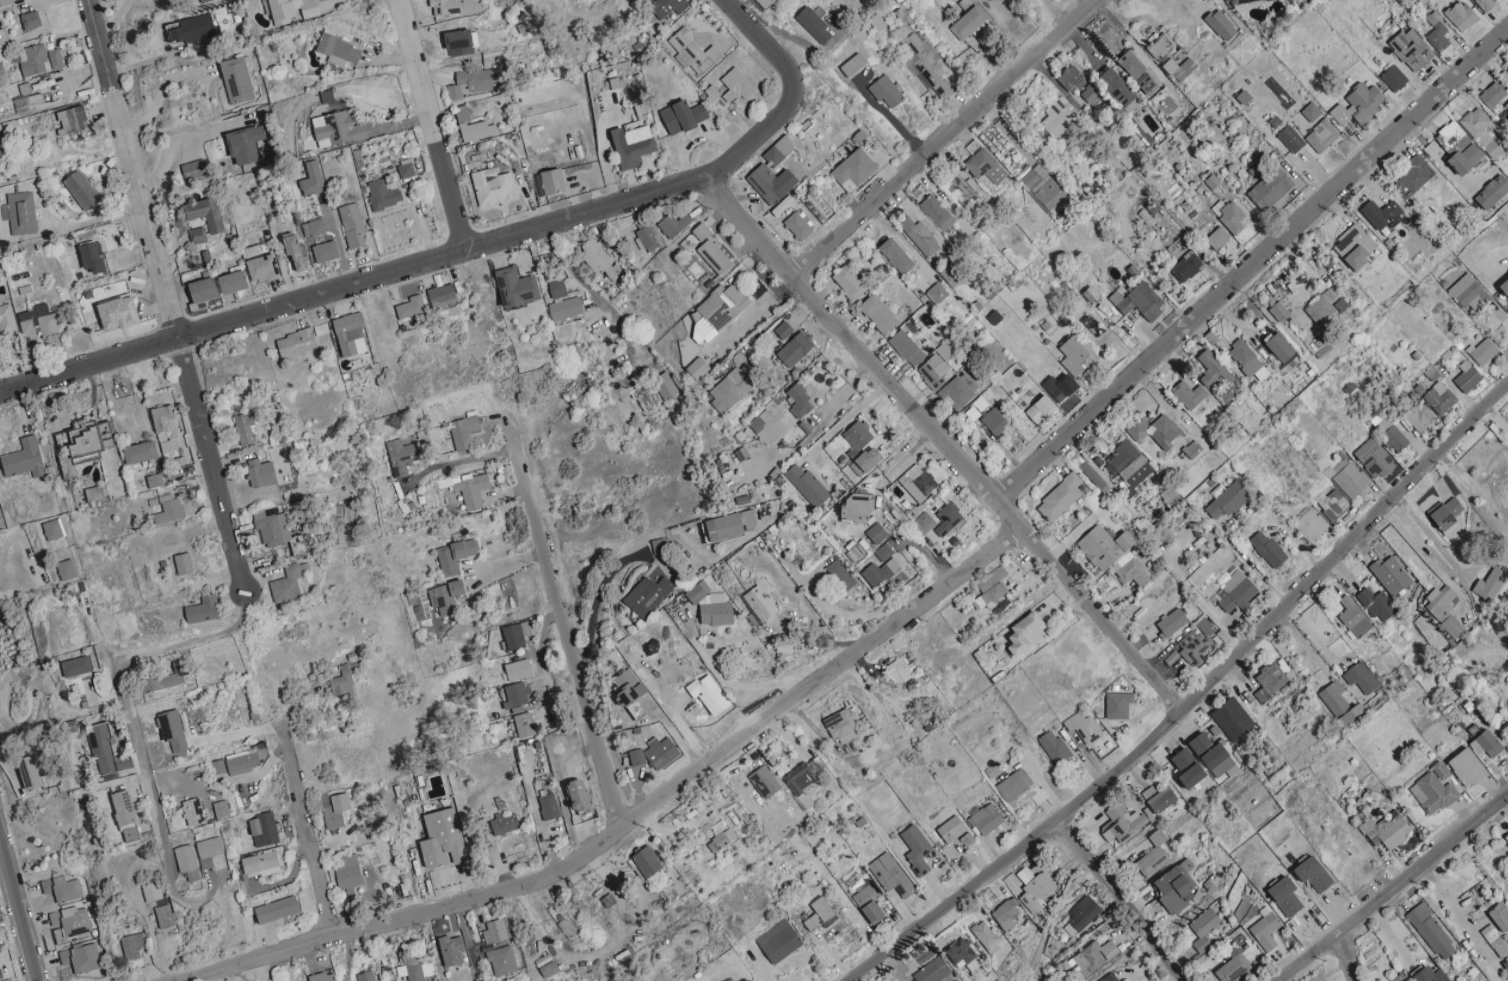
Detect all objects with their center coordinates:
building: (206, 1)
building: (1237, 1)
building: (5, 2)
road: (30, 3)
building: (766, 3)
building: (1485, 3)
building: (668, 6)
building: (454, 7)
building: (290, 9)
building: (1462, 15)
road: (114, 19)
building: (30, 20)
building: (968, 23)
building: (813, 24)
building: (1221, 25)
building: (193, 29)
building: (1438, 32)
building: (461, 42)
building: (1161, 46)
building: (1412, 49)
building: (339, 50)
building: (693, 51)
building: (55, 58)
building: (33, 60)
building: (854, 64)
building: (929, 64)
building: (1132, 64)
building: (1179, 68)
building: (1505, 75)
building: (1071, 77)
building: (1394, 78)
building: (236, 80)
building: (474, 81)
building: (1149, 83)
building: (736, 85)
building: (1118, 89)
building: (886, 91)
road: (159, 93)
road: (793, 95)
building: (1493, 95)
building: (1359, 104)
building: (1506, 105)
building: (1311, 111)
building: (683, 116)
building: (1056, 116)
building: (73, 119)
road: (432, 124)
building: (470, 125)
building: (337, 128)
building: (1481, 131)
building: (1322, 136)
road: (942, 137)
building: (1291, 139)
building: (245, 144)
building: (633, 145)
building: (1459, 147)
building: (778, 151)
road: (167, 155)
building: (986, 166)
building: (406, 168)
building: (192, 169)
building: (854, 169)
building: (1416, 174)
building: (1029, 178)
building: (313, 179)
building: (552, 181)
building: (771, 183)
building: (494, 187)
building: (1272, 188)
building: (82, 190)
building: (1493, 192)
building: (383, 194)
building: (1051, 196)
building: (783, 205)
building: (20, 212)
building: (937, 212)
building: (205, 213)
building: (1381, 213)
building: (1231, 216)
road: (93, 222)
building: (352, 225)
building: (674, 225)
building: (798, 225)
building: (313, 227)
building: (701, 231)
building: (923, 234)
building: (198, 235)
building: (1217, 238)
building: (645, 239)
road: (338, 240)
building: (1356, 246)
building: (325, 251)
building: (296, 252)
building: (896, 255)
building: (714, 256)
building: (93, 257)
building: (599, 259)
road: (1253, 263)
building: (1186, 267)
building: (263, 268)
building: (233, 282)
building: (850, 282)
road: (353, 283)
building: (1505, 286)
building: (517, 287)
building: (557, 288)
building: (203, 289)
building: (1465, 289)
building: (939, 290)
building: (442, 293)
road: (166, 295)
road: (597, 296)
building: (1138, 300)
building: (1341, 305)
building: (412, 306)
building: (1322, 307)
road: (71, 309)
building: (566, 309)
building: (718, 311)
building: (1279, 311)
building: (119, 312)
building: (880, 313)
building: (7, 320)
building: (39, 322)
building: (320, 328)
building: (784, 329)
building: (351, 334)
building: (296, 342)
building: (907, 347)
building: (1282, 347)
building: (795, 348)
building: (1483, 351)
building: (1073, 355)
building: (1248, 361)
building: (936, 366)
building: (698, 367)
building: (1213, 369)
building: (1467, 377)
building: (664, 385)
building: (1060, 387)
building: (959, 389)
building: (731, 390)
building: (1189, 394)
building: (644, 396)
building: (1440, 398)
building: (799, 401)
building: (1041, 409)
building: (1418, 416)
road: (1495, 416)
building: (162, 418)
building: (994, 420)
building: (769, 422)
building: (1383, 424)
building: (244, 429)
building: (464, 431)
building: (1155, 431)
building: (1395, 440)
road: (947, 442)
building: (859, 445)
building: (166, 446)
building: (1193, 449)
building: (140, 453)
building: (100, 454)
building: (401, 456)
building: (24, 458)
building: (1374, 458)
road: (460, 460)
building: (1128, 464)
building: (261, 473)
building: (1093, 476)
building: (154, 480)
building: (1351, 480)
building: (919, 482)
building: (808, 485)
road: (1476, 487)
building: (471, 489)
building: (93, 494)
building: (1061, 498)
building: (1229, 499)
building: (1332, 503)
building: (858, 508)
building: (169, 509)
building: (1447, 516)
building: (948, 518)
building: (749, 520)
building: (923, 523)
building: (1309, 523)
building: (272, 527)
building: (725, 527)
building: (53, 530)
building: (877, 532)
road: (14, 538)
road: (643, 538)
road: (1433, 539)
building: (658, 545)
building: (1269, 549)
building: (883, 552)
building: (1114, 554)
building: (455, 556)
road: (1427, 559)
road: (507, 563)
building: (184, 564)
building: (66, 569)
building: (880, 572)
building: (841, 575)
building: (1391, 575)
building: (996, 576)
building: (288, 584)
building: (1490, 584)
building: (1236, 592)
building: (647, 595)
building: (446, 596)
building: (990, 596)
road: (1200, 599)
building: (761, 601)
building: (1441, 601)
building: (1378, 604)
building: (711, 606)
building: (203, 609)
building: (1353, 618)
building: (1172, 622)
building: (1423, 626)
building: (1452, 627)
building: (1028, 634)
building: (515, 635)
road: (570, 638)
building: (1192, 645)
building: (784, 647)
building: (0, 666)
building: (76, 666)
building: (518, 669)
building: (900, 670)
building: (165, 677)
building: (1361, 678)
building: (1269, 681)
road: (725, 682)
building: (340, 685)
road: (120, 691)
building: (630, 692)
building: (516, 694)
building: (1334, 697)
road: (1189, 700)
building: (1118, 705)
building: (1349, 715)
building: (1232, 719)
building: (524, 725)
building: (841, 726)
building: (1083, 727)
building: (173, 730)
building: (1506, 730)
building: (1487, 744)
building: (1055, 748)
building: (661, 752)
building: (105, 754)
building: (1212, 754)
building: (636, 757)
building: (816, 765)
building: (217, 767)
building: (1189, 768)
building: (1468, 768)
building: (993, 770)
building: (1441, 770)
building: (30, 773)
building: (765, 782)
building: (1015, 785)
building: (1433, 793)
building: (580, 795)
building: (1158, 798)
building: (549, 806)
building: (123, 808)
building: (221, 809)
building: (337, 810)
building: (194, 812)
building: (986, 819)
building: (504, 823)
building: (1122, 823)
road: (310, 825)
road: (623, 825)
building: (263, 830)
building: (1387, 830)
building: (954, 831)
building: (1506, 838)
building: (442, 840)
building: (721, 841)
building: (917, 848)
building: (209, 850)
building: (1153, 855)
building: (186, 861)
building: (648, 862)
building: (260, 864)
building: (348, 871)
building: (1315, 874)
building: (890, 875)
road: (1389, 885)
building: (1177, 887)
building: (62, 889)
building: (1034, 889)
building: (151, 891)
road: (1122, 893)
building: (1286, 896)
building: (869, 904)
road: (19, 908)
building: (276, 909)
road: (1456, 910)
building: (1083, 912)
building: (820, 913)
building: (164, 915)
building: (1006, 915)
building: (1500, 916)
building: (70, 922)
building: (1203, 928)
building: (1266, 931)
building: (1431, 932)
building: (986, 935)
building: (778, 941)
building: (1495, 941)
building: (132, 945)
building: (499, 948)
building: (452, 950)
building: (964, 955)
road: (1339, 955)
building: (1092, 957)
building: (81, 958)
building: (548, 966)
building: (1505, 966)
building: (1233, 967)
building: (1431, 975)
building: (365, 976)
building: (323, 977)
building: (948, 978)
building: (1111, 978)
building: (1400, 978)
building: (0, 979)
building: (889, 979)
building: (958, 980)

